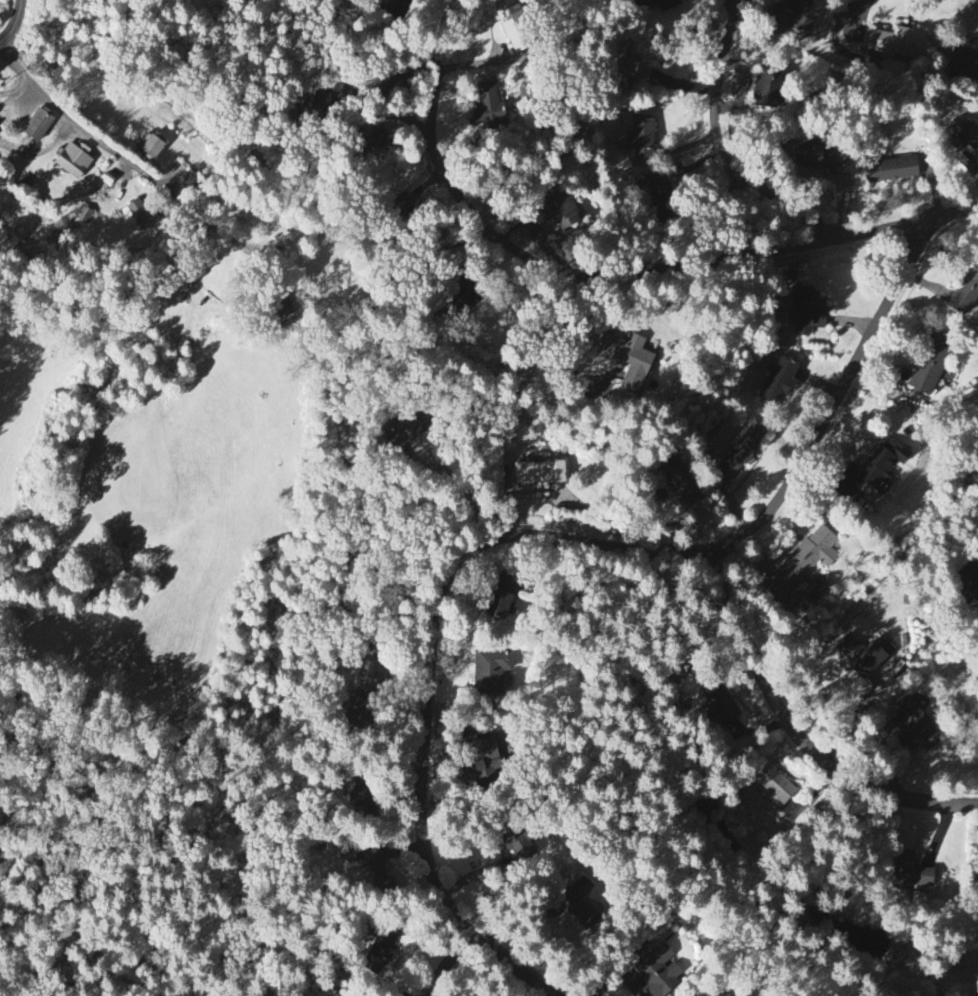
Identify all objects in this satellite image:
building: (666, 5)
building: (394, 9)
building: (806, 18)
building: (508, 20)
road: (15, 24)
road: (837, 33)
building: (896, 43)
building: (964, 63)
building: (637, 67)
building: (767, 90)
road: (9, 94)
road: (15, 96)
building: (314, 100)
road: (366, 103)
building: (490, 107)
road: (411, 108)
building: (38, 127)
building: (641, 139)
road: (718, 141)
road: (104, 143)
building: (964, 143)
building: (368, 146)
building: (152, 148)
building: (820, 157)
building: (72, 163)
building: (891, 171)
building: (656, 183)
building: (25, 184)
building: (188, 184)
building: (560, 213)
building: (84, 216)
building: (140, 216)
road: (902, 224)
road: (563, 274)
building: (188, 276)
building: (965, 295)
building: (460, 299)
building: (281, 309)
building: (805, 314)
road: (564, 342)
building: (623, 362)
building: (931, 367)
building: (778, 383)
building: (740, 453)
building: (881, 467)
building: (538, 474)
road: (462, 487)
building: (681, 487)
road: (535, 543)
building: (802, 569)
building: (971, 585)
building: (501, 597)
building: (865, 656)
building: (490, 672)
building: (355, 706)
building: (719, 709)
road: (796, 731)
building: (916, 731)
building: (481, 761)
building: (773, 787)
building: (520, 846)
building: (373, 868)
building: (910, 873)
building: (579, 905)
building: (379, 954)
road: (450, 960)
building: (658, 972)

